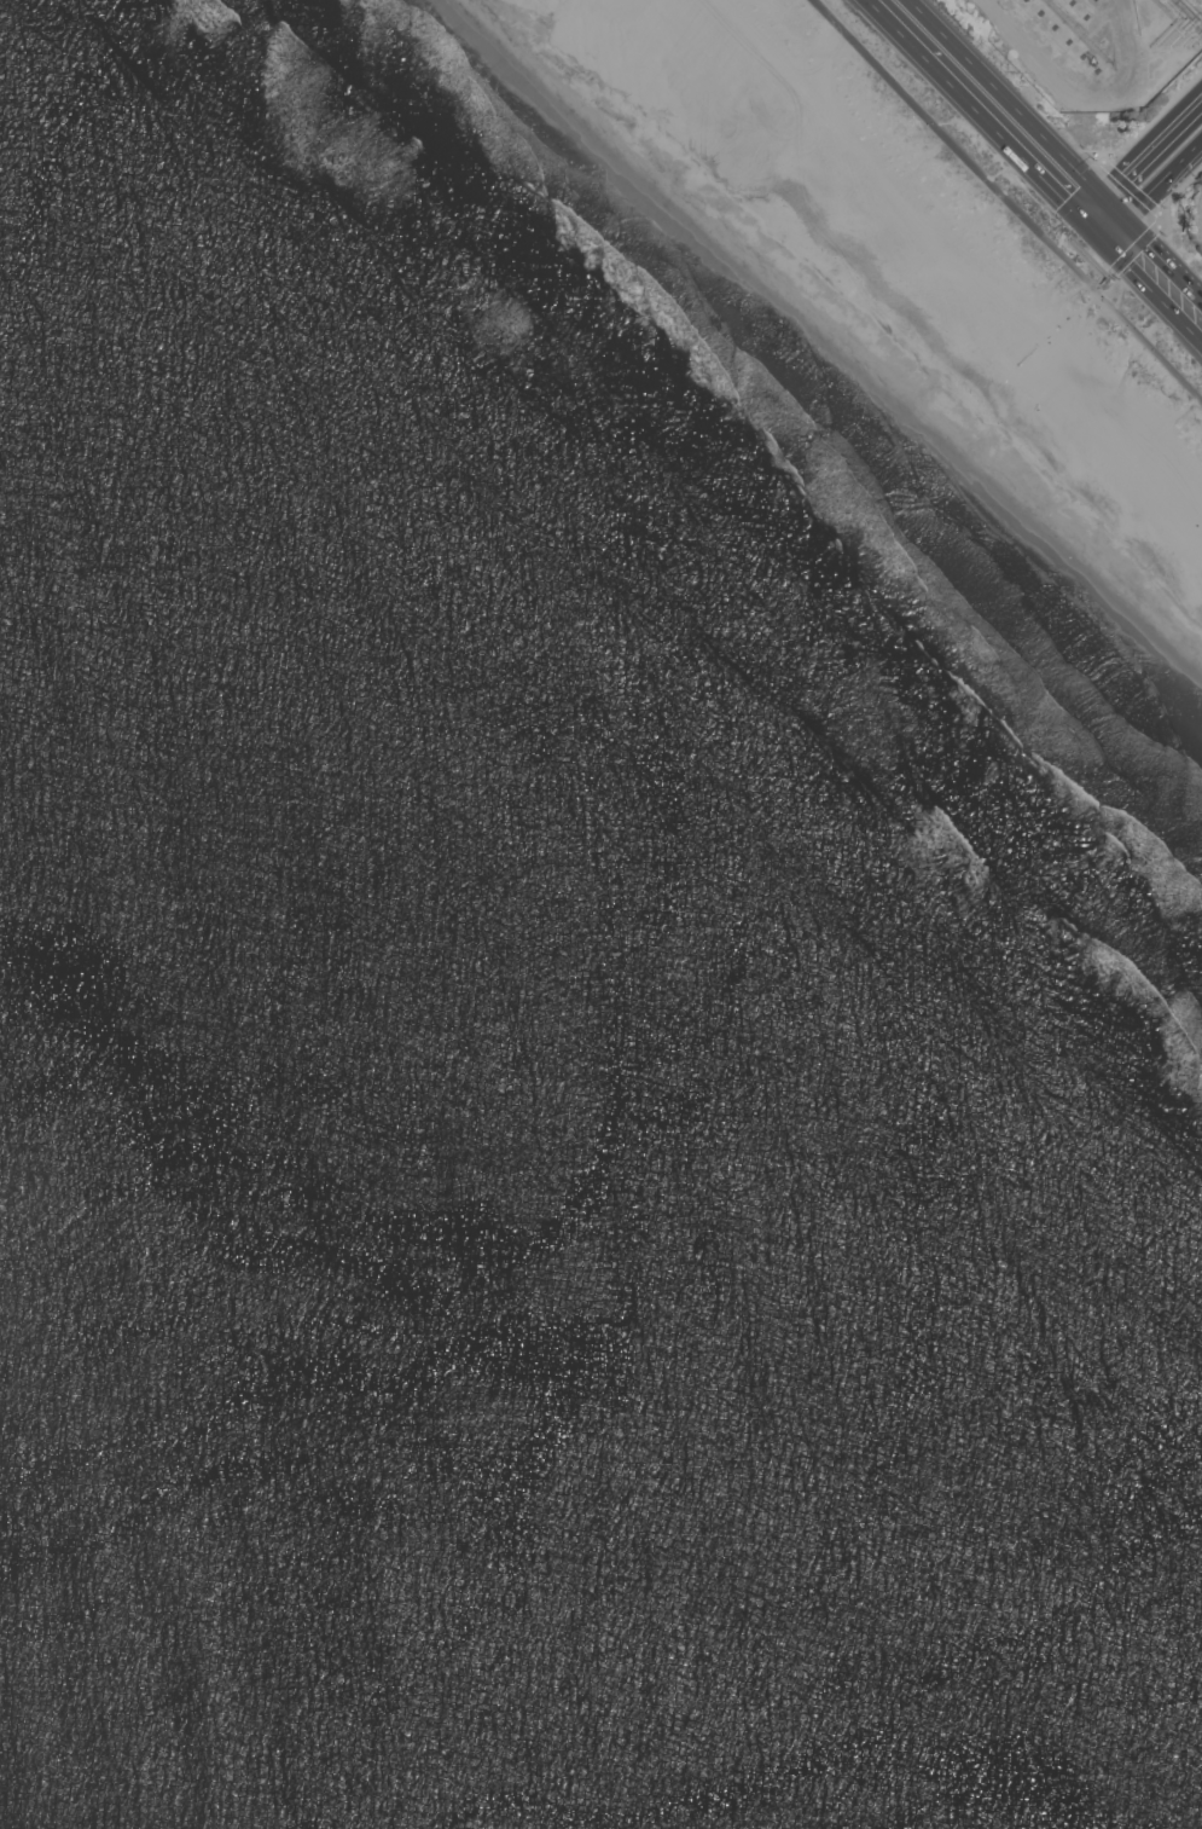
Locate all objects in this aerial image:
road: (995, 109)
road: (1146, 155)
road: (1102, 175)
road: (1157, 190)
road: (1008, 198)
traffic signals: (1102, 219)
road: (1152, 268)

